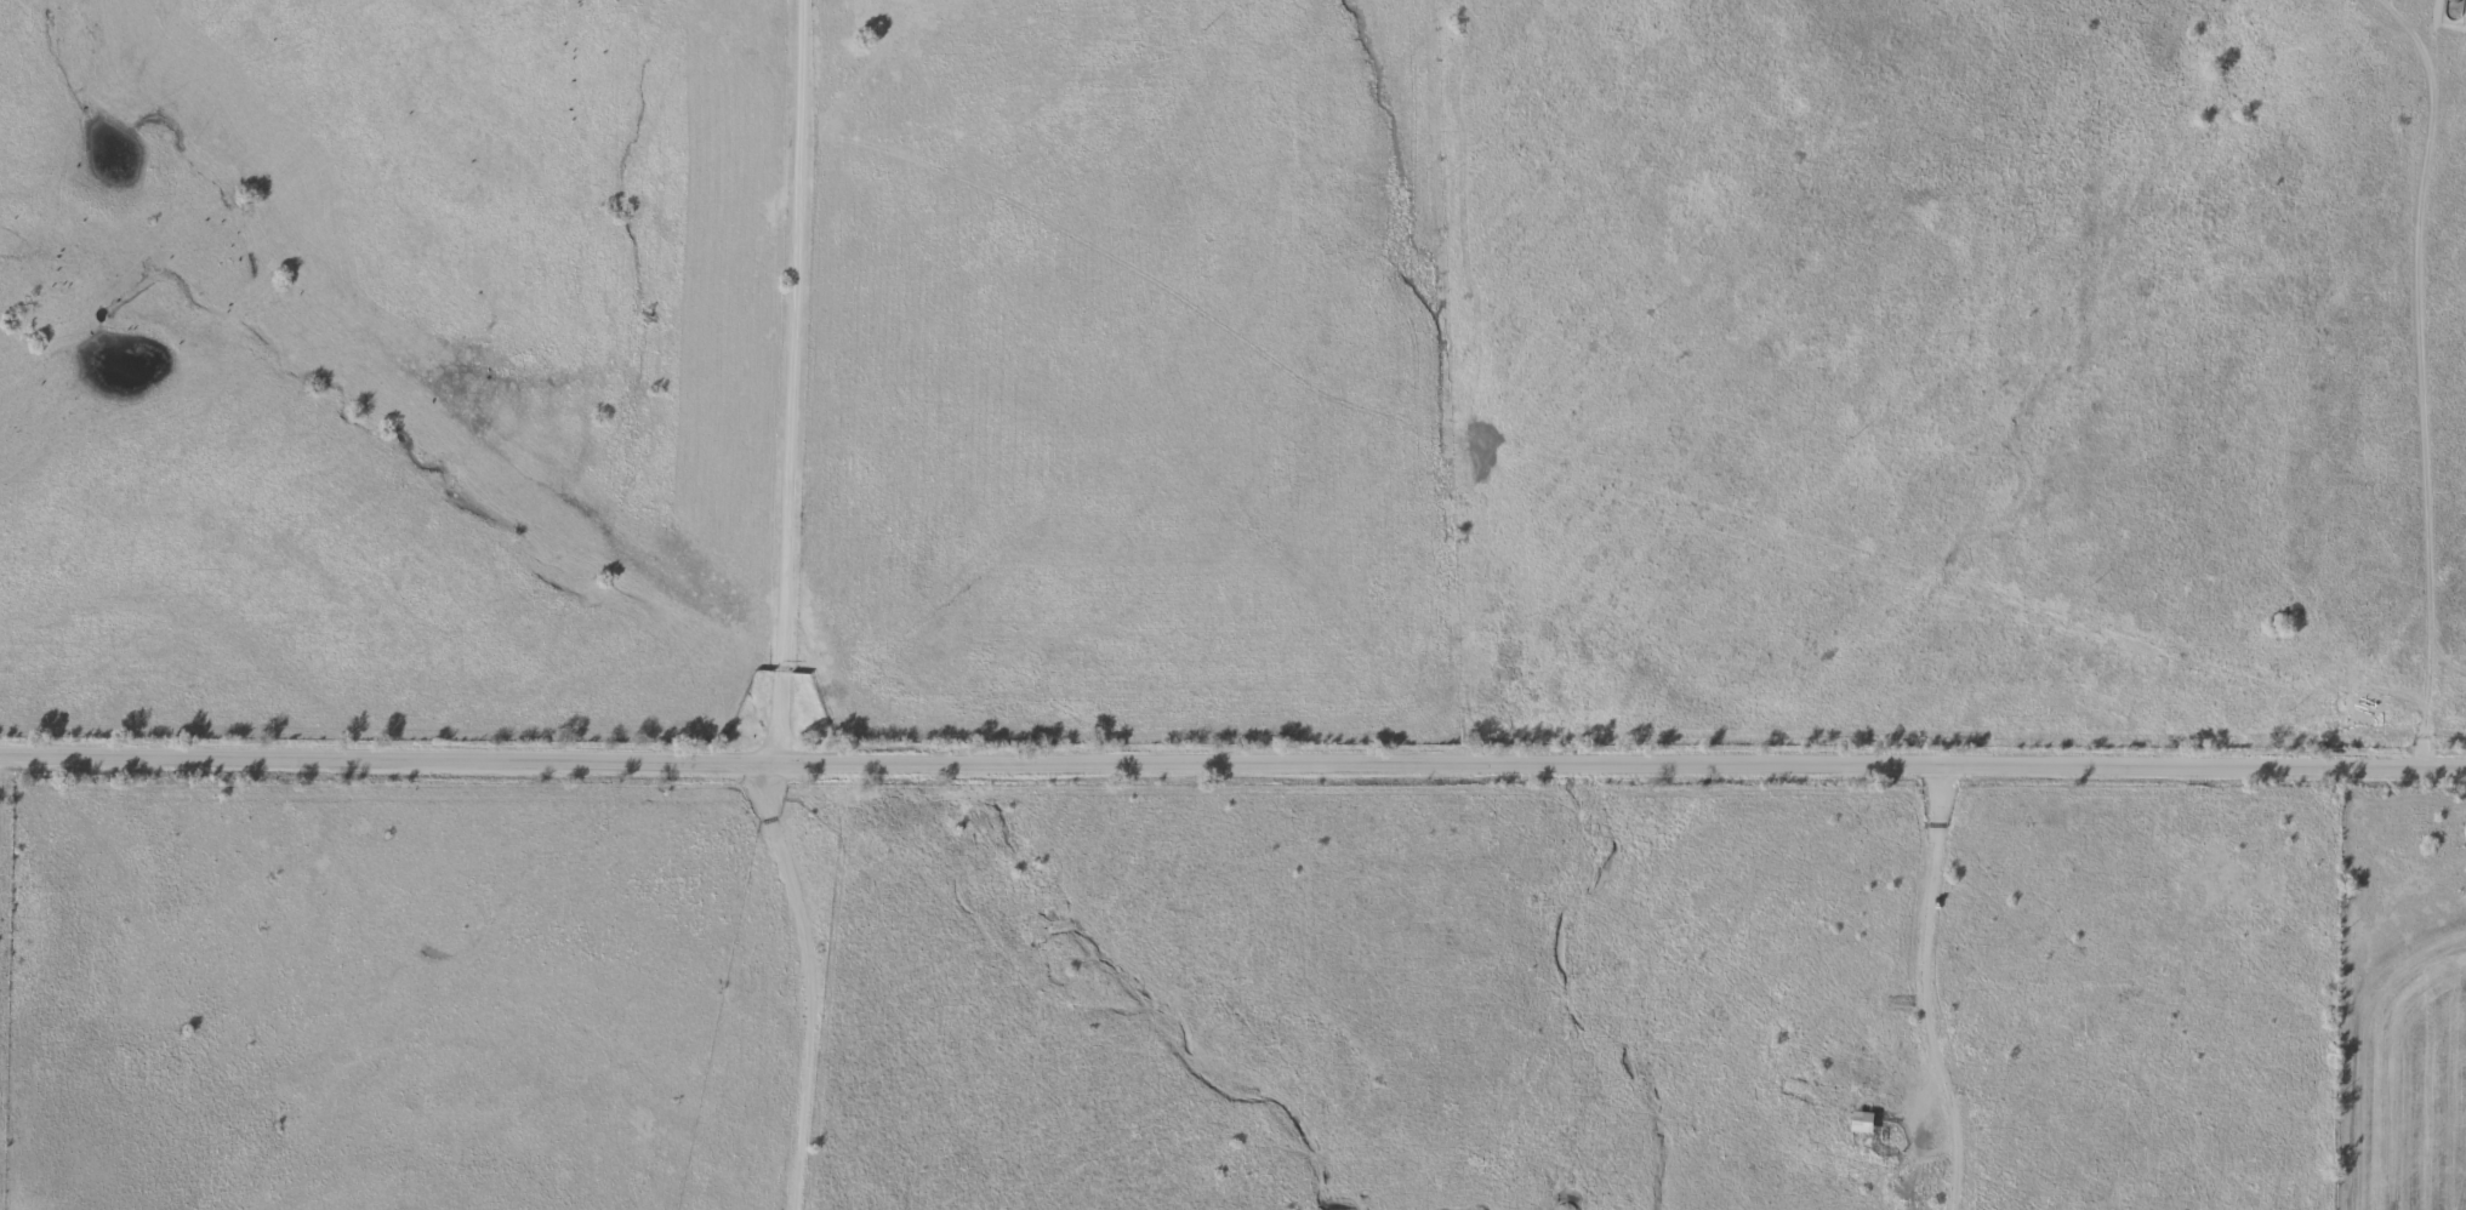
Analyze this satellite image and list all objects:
road: (2402, 372)
road: (782, 383)
road: (1232, 766)
road: (38, 884)
road: (803, 986)
road: (1919, 989)

